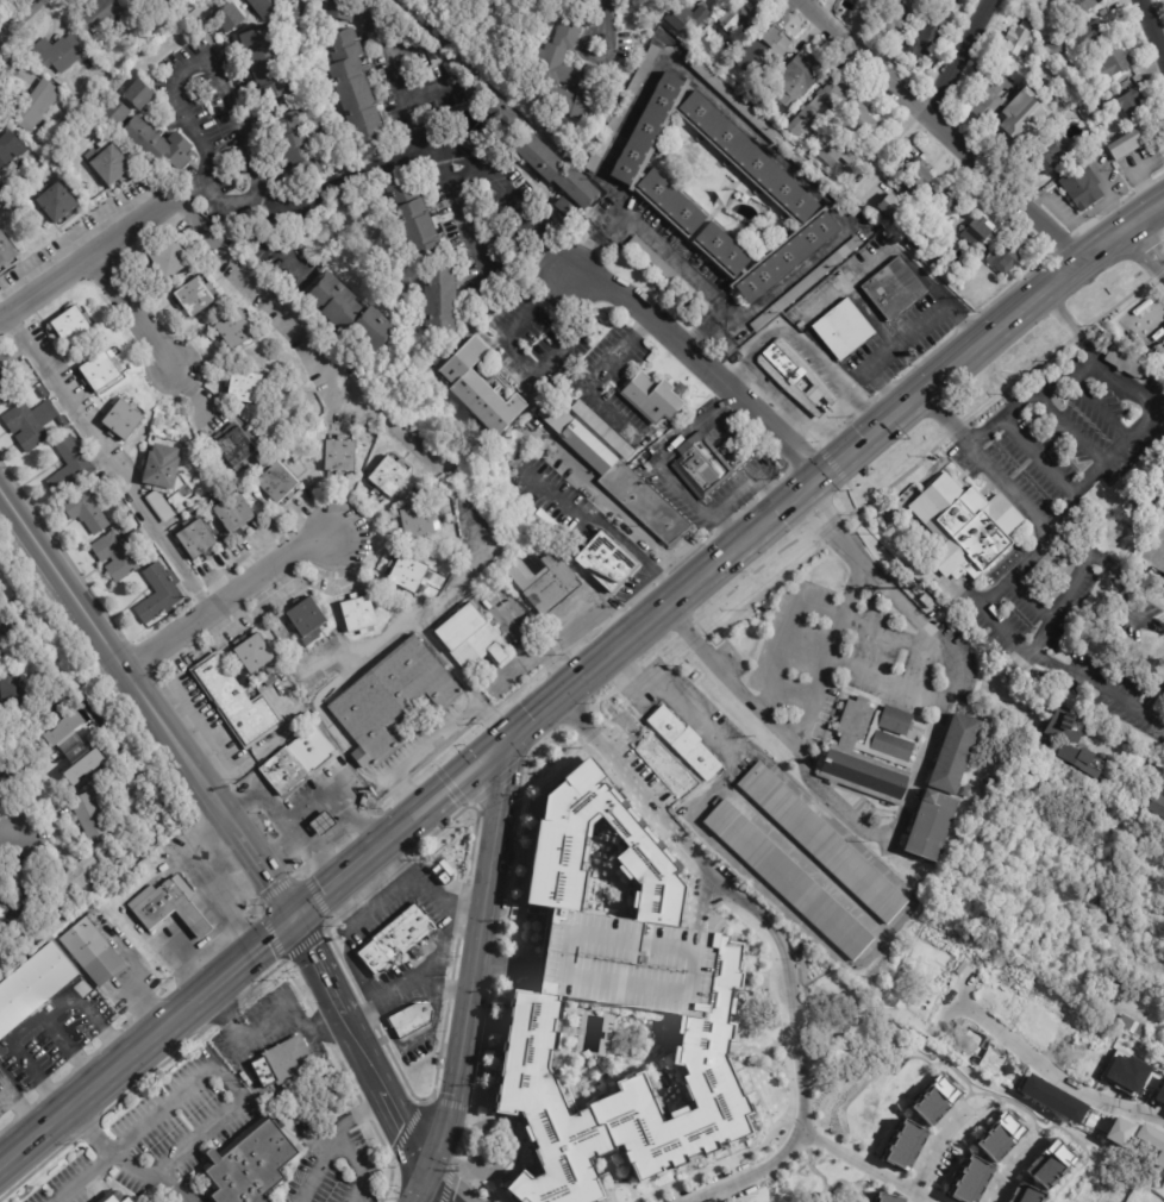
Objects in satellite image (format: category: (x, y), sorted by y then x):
building: (149, 4)
building: (864, 4)
building: (657, 5)
building: (1079, 6)
building: (267, 7)
building: (939, 8)
building: (342, 10)
building: (98, 15)
building: (229, 17)
building: (376, 17)
building: (686, 17)
building: (740, 17)
building: (894, 17)
building: (1039, 17)
road: (18, 21)
road: (1152, 27)
building: (1096, 35)
building: (665, 38)
building: (1020, 38)
building: (143, 39)
building: (926, 44)
building: (1058, 48)
building: (768, 49)
building: (58, 52)
building: (562, 54)
road: (201, 56)
road: (956, 57)
building: (267, 63)
building: (1113, 63)
building: (803, 74)
building: (984, 76)
road: (695, 82)
building: (356, 93)
building: (765, 94)
building: (1090, 94)
building: (139, 95)
building: (989, 99)
building: (575, 100)
building: (734, 100)
building: (1058, 101)
building: (1128, 102)
building: (35, 105)
building: (819, 106)
building: (624, 108)
building: (115, 112)
building: (502, 112)
building: (1095, 112)
building: (1027, 117)
road: (940, 129)
building: (597, 132)
building: (839, 136)
building: (1131, 143)
building: (157, 144)
building: (11, 146)
building: (298, 146)
building: (1085, 150)
building: (578, 157)
building: (1050, 157)
building: (111, 165)
building: (76, 170)
building: (559, 171)
building: (916, 176)
building: (821, 180)
road: (339, 182)
building: (1082, 187)
building: (652, 188)
road: (509, 193)
building: (946, 199)
building: (56, 202)
building: (568, 208)
building: (896, 208)
building: (414, 218)
building: (978, 232)
building: (918, 242)
road: (270, 244)
road: (1146, 246)
road: (478, 248)
road: (665, 251)
building: (6, 252)
building: (937, 255)
road: (90, 257)
building: (1005, 258)
building: (170, 259)
building: (663, 268)
road: (797, 274)
building: (808, 284)
building: (893, 290)
building: (194, 299)
building: (442, 303)
building: (702, 303)
road: (132, 309)
building: (351, 313)
road: (734, 313)
road: (1151, 315)
building: (782, 320)
building: (71, 326)
building: (236, 330)
building: (844, 330)
road: (506, 343)
building: (1125, 361)
road: (702, 363)
building: (102, 371)
building: (781, 377)
road: (594, 378)
building: (6, 380)
building: (481, 386)
building: (245, 388)
building: (42, 393)
road: (1030, 394)
building: (653, 399)
road: (1100, 408)
building: (124, 421)
building: (32, 424)
road: (695, 425)
road: (1070, 426)
road: (392, 428)
building: (603, 431)
road: (868, 431)
building: (236, 449)
road: (1037, 453)
building: (340, 457)
building: (70, 467)
road: (106, 467)
building: (702, 468)
building: (870, 472)
road: (1091, 474)
building: (619, 477)
building: (162, 478)
building: (389, 478)
building: (277, 483)
road: (683, 489)
building: (187, 490)
road: (737, 495)
building: (195, 506)
building: (88, 508)
building: (236, 515)
building: (418, 521)
road: (603, 524)
building: (547, 525)
building: (968, 525)
building: (198, 541)
building: (545, 549)
building: (120, 553)
building: (606, 562)
road: (1104, 563)
road: (1012, 572)
building: (411, 575)
building: (552, 586)
building: (159, 594)
road: (230, 600)
road: (796, 602)
building: (1, 605)
building: (358, 615)
road: (990, 621)
building: (307, 624)
road: (885, 634)
road: (388, 637)
building: (470, 637)
building: (10, 641)
building: (292, 651)
building: (255, 656)
road: (1087, 677)
road: (578, 680)
road: (816, 680)
building: (270, 681)
road: (462, 681)
road: (882, 681)
road: (564, 691)
building: (15, 696)
building: (392, 700)
road: (148, 702)
building: (237, 703)
building: (1035, 712)
road: (531, 720)
road: (328, 724)
building: (68, 738)
traffic signals: (506, 743)
building: (683, 745)
building: (1076, 749)
building: (870, 753)
road: (415, 755)
building: (956, 757)
building: (299, 762)
building: (83, 766)
road: (1153, 766)
building: (55, 771)
building: (8, 777)
building: (968, 793)
road: (908, 795)
building: (1156, 802)
road: (307, 806)
road: (496, 808)
road: (338, 809)
building: (92, 814)
road: (344, 816)
road: (321, 822)
building: (450, 822)
building: (324, 826)
building: (932, 827)
road: (327, 829)
road: (12, 832)
road: (306, 834)
road: (312, 841)
building: (556, 841)
building: (821, 843)
building: (1145, 843)
road: (309, 852)
road: (281, 853)
building: (1162, 853)
building: (164, 868)
building: (444, 872)
road: (245, 879)
building: (70, 882)
building: (788, 882)
building: (17, 900)
road: (233, 900)
building: (159, 901)
building: (75, 904)
road: (201, 908)
road: (188, 915)
traffic signals: (294, 915)
building: (1104, 915)
building: (93, 918)
building: (194, 919)
gas station: (194, 919)
road: (179, 926)
road: (196, 926)
building: (5, 931)
building: (396, 938)
road: (777, 938)
road: (251, 950)
building: (93, 952)
road: (181, 954)
building: (624, 962)
parking lot: (624, 962)
road: (319, 964)
building: (33, 985)
road: (406, 985)
road: (39, 1018)
building: (413, 1020)
building: (1132, 1027)
road: (259, 1035)
road: (463, 1041)
road: (361, 1043)
road: (70, 1048)
building: (283, 1062)
building: (440, 1062)
road: (1053, 1071)
road: (221, 1079)
road: (14, 1089)
building: (624, 1095)
road: (24, 1113)
road: (352, 1119)
road: (403, 1122)
building: (914, 1125)
road: (935, 1153)
building: (982, 1160)
road: (125, 1162)
building: (254, 1165)
road: (865, 1166)
traffic signals: (430, 1172)
road: (1009, 1175)
building: (1045, 1175)
road: (308, 1176)
road: (81, 1177)
road: (444, 1187)
building: (887, 1196)
building: (120, 1198)

